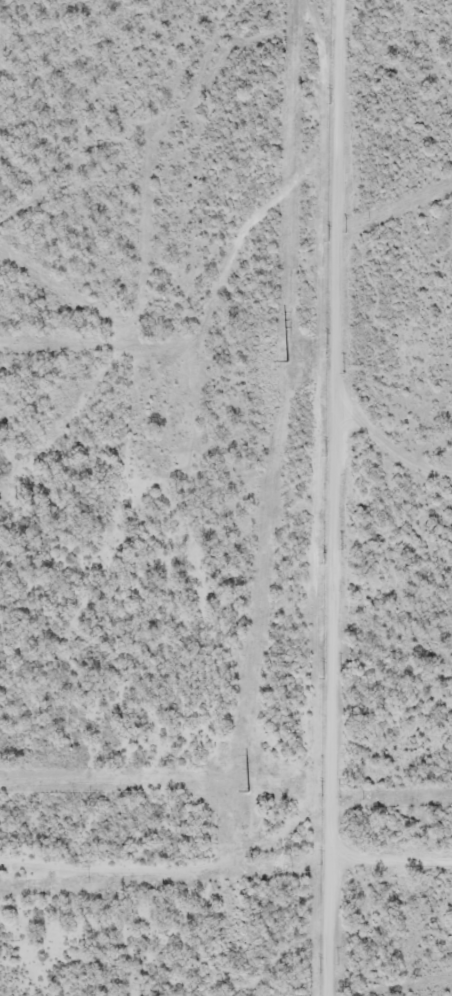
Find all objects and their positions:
power tower: (290, 362)
road: (328, 498)
power tower: (249, 791)

